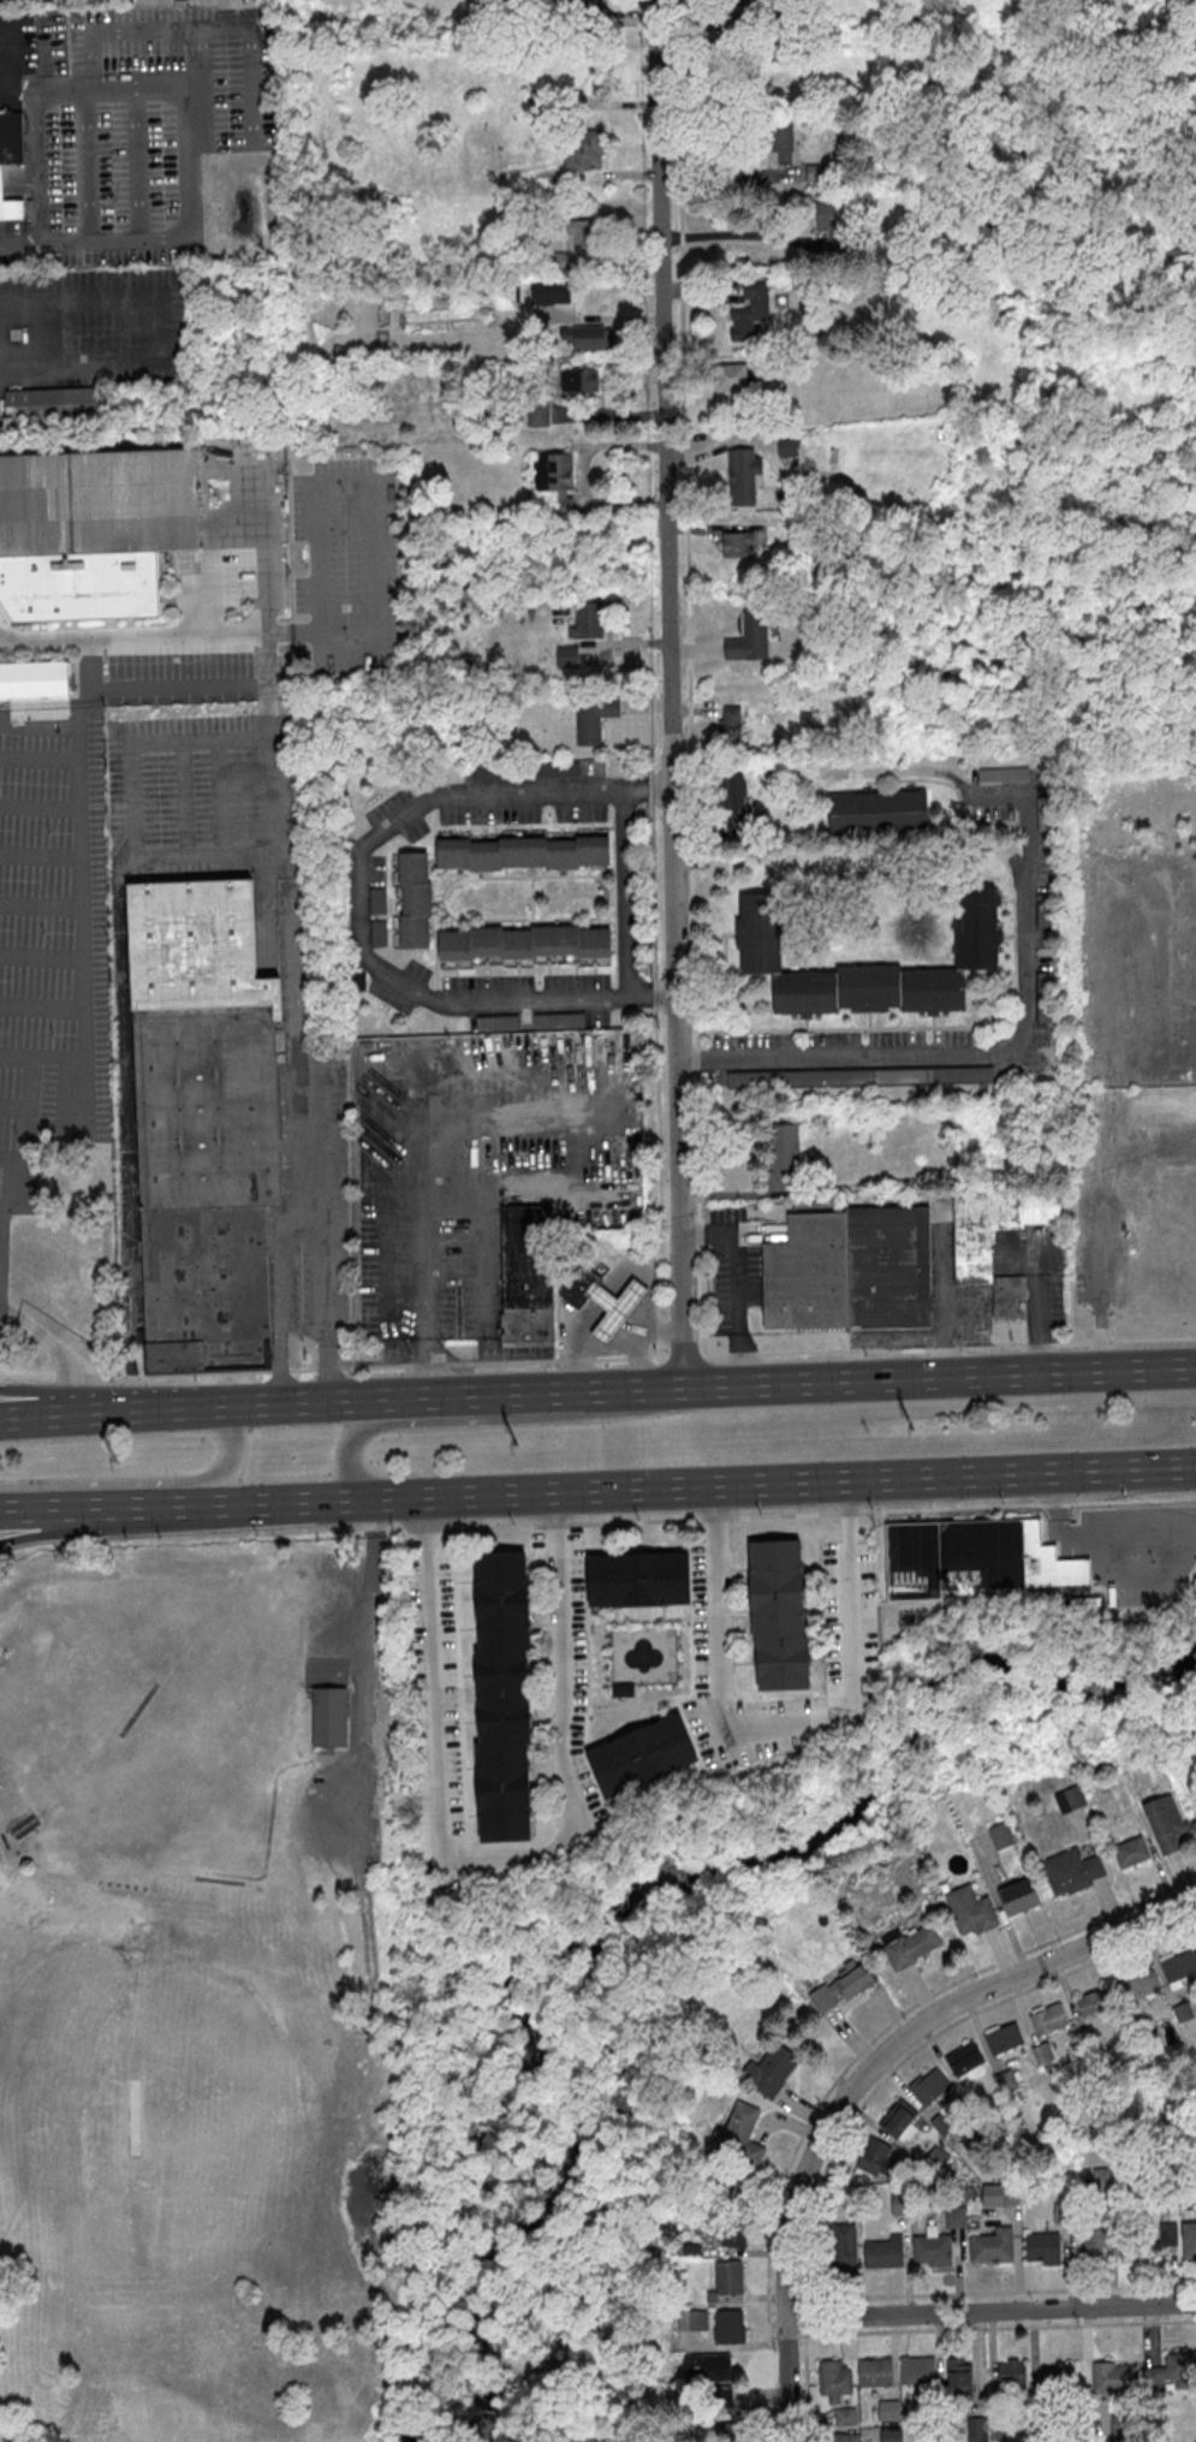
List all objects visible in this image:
building: (591, 5)
building: (750, 6)
road: (13, 49)
road: (99, 90)
road: (7, 94)
building: (783, 143)
building: (584, 148)
building: (11, 162)
road: (183, 164)
road: (117, 165)
road: (73, 166)
building: (585, 232)
road: (731, 233)
road: (91, 240)
building: (751, 310)
road: (163, 326)
building: (585, 337)
road: (0, 350)
building: (731, 376)
building: (587, 379)
building: (54, 402)
building: (539, 411)
building: (789, 445)
building: (745, 475)
building: (554, 477)
road: (370, 517)
building: (91, 530)
building: (739, 542)
building: (588, 622)
building: (750, 637)
building: (567, 655)
building: (36, 689)
road: (671, 693)
building: (594, 717)
building: (731, 720)
building: (733, 795)
road: (136, 802)
building: (879, 810)
building: (524, 851)
road: (359, 877)
road: (285, 881)
road: (625, 893)
building: (415, 899)
building: (978, 928)
building: (525, 941)
road: (87, 964)
road: (654, 996)
road: (1023, 1009)
building: (859, 1076)
building: (204, 1123)
building: (784, 1155)
road: (420, 1157)
road: (453, 1213)
building: (974, 1249)
building: (850, 1268)
building: (528, 1273)
road: (733, 1284)
building: (577, 1285)
road: (614, 1287)
road: (607, 1288)
road: (626, 1296)
road: (599, 1297)
road: (613, 1306)
road: (593, 1307)
building: (611, 1307)
road: (641, 1311)
road: (595, 1312)
road: (582, 1319)
road: (608, 1321)
road: (626, 1330)
road: (650, 1332)
road: (58, 1338)
road: (636, 1355)
road: (575, 1360)
road: (874, 1379)
road: (107, 1391)
road: (468, 1395)
road: (231, 1403)
road: (40, 1414)
road: (482, 1419)
power tower: (914, 1426)
power tower: (518, 1443)
power tower: (119, 1458)
road: (1118, 1467)
road: (147, 1480)
road: (639, 1487)
road: (844, 1503)
road: (138, 1505)
road: (712, 1505)
road: (18, 1509)
road: (551, 1513)
road: (809, 1514)
road: (370, 1516)
road: (119, 1521)
road: (422, 1521)
road: (1087, 1534)
building: (971, 1557)
building: (772, 1565)
road: (1136, 1568)
building: (498, 1576)
building: (660, 1579)
building: (609, 1580)
building: (1083, 1600)
building: (773, 1615)
building: (500, 1626)
building: (779, 1663)
building: (499, 1674)
road: (367, 1688)
building: (619, 1689)
building: (332, 1717)
building: (501, 1722)
road: (773, 1730)
building: (661, 1747)
building: (613, 1766)
building: (499, 1769)
building: (1066, 1798)
building: (1194, 1808)
building: (500, 1817)
building: (1160, 1822)
building: (1194, 1824)
building: (998, 1836)
building: (1127, 1852)
road: (502, 1861)
building: (1067, 1870)
building: (1014, 1896)
building: (969, 1907)
park: (194, 1911)
river: (546, 1943)
building: (905, 1945)
building: (1178, 1963)
building: (1140, 1984)
building: (838, 1986)
building: (1090, 2001)
building: (1183, 2010)
building: (1048, 2019)
road: (882, 2027)
building: (1144, 2033)
building: (1004, 2037)
building: (1042, 2051)
building: (964, 2056)
building: (766, 2072)
road: (861, 2076)
building: (1002, 2080)
building: (928, 2085)
building: (903, 2122)
building: (737, 2135)
building: (873, 2155)
building: (936, 2158)
building: (1100, 2177)
building: (725, 2190)
building: (998, 2192)
building: (956, 2196)
road: (813, 2198)
building: (895, 2203)
building: (1058, 2212)
building: (952, 2216)
building: (731, 2229)
building: (1091, 2239)
building: (1143, 2240)
building: (1188, 2240)
building: (838, 2246)
building: (928, 2246)
building: (989, 2246)
building: (1039, 2247)
building: (689, 2248)
building: (880, 2252)
building: (725, 2277)
road: (819, 2303)
road: (989, 2311)
road: (815, 2317)
building: (691, 2319)
building: (727, 2325)
road: (995, 2325)
road: (770, 2328)
road: (811, 2329)
road: (785, 2330)
road: (773, 2340)
building: (916, 2369)
building: (1170, 2370)
building: (874, 2371)
building: (1111, 2376)
building: (957, 2377)
building: (1010, 2377)
building: (832, 2378)
building: (706, 2379)
building: (1055, 2384)
building: (933, 2407)
building: (887, 2408)
building: (844, 2414)
building: (1120, 2426)
building: (976, 2429)
building: (1039, 2429)
building: (996, 2430)
building: (727, 2431)
building: (889, 2435)
building: (845, 2437)

